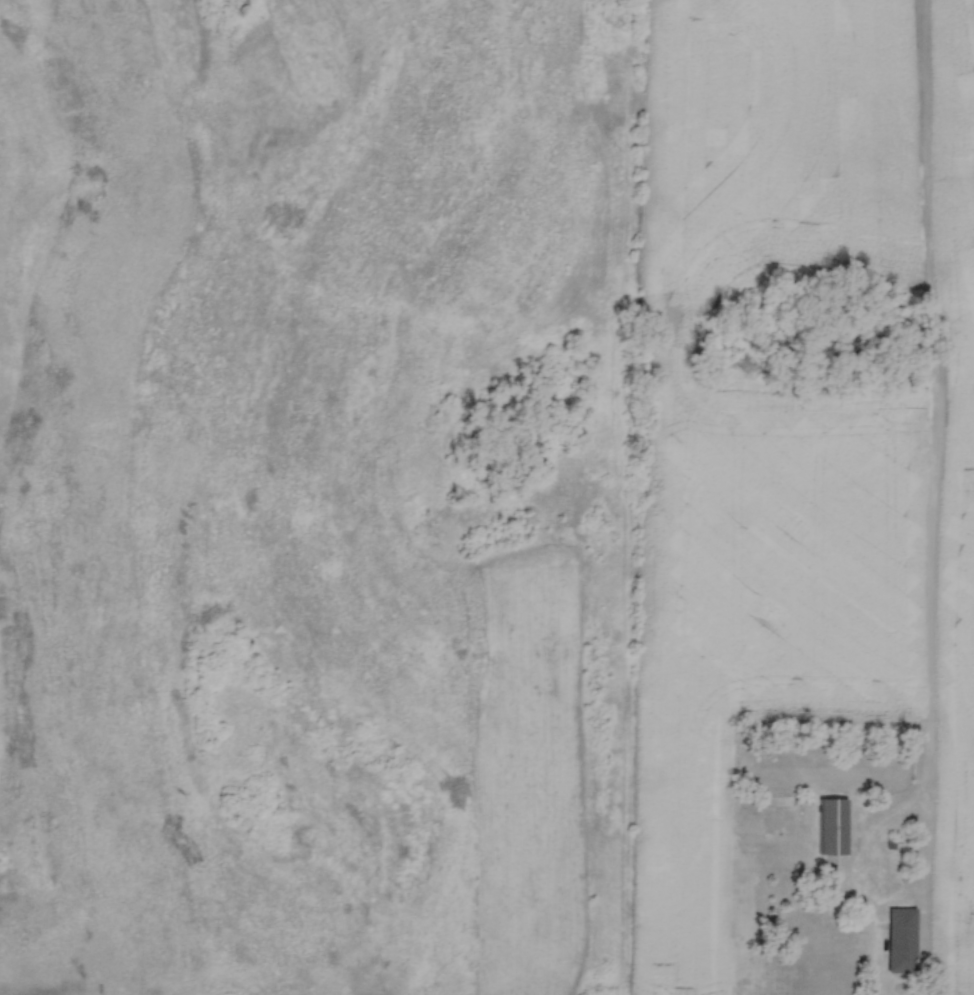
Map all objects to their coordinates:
building: (838, 825)
building: (905, 939)

